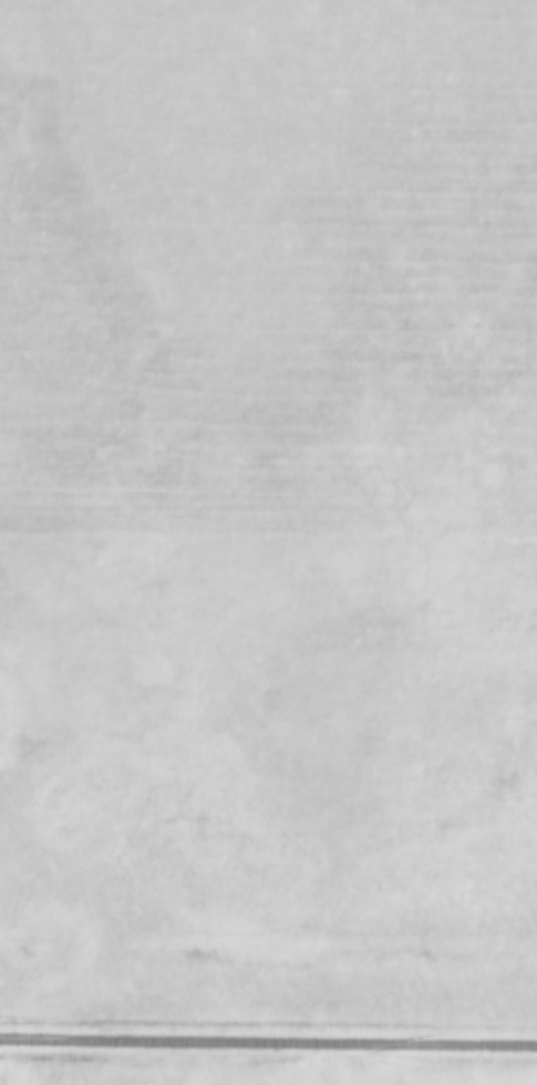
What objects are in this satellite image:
railway: (268, 1040)

